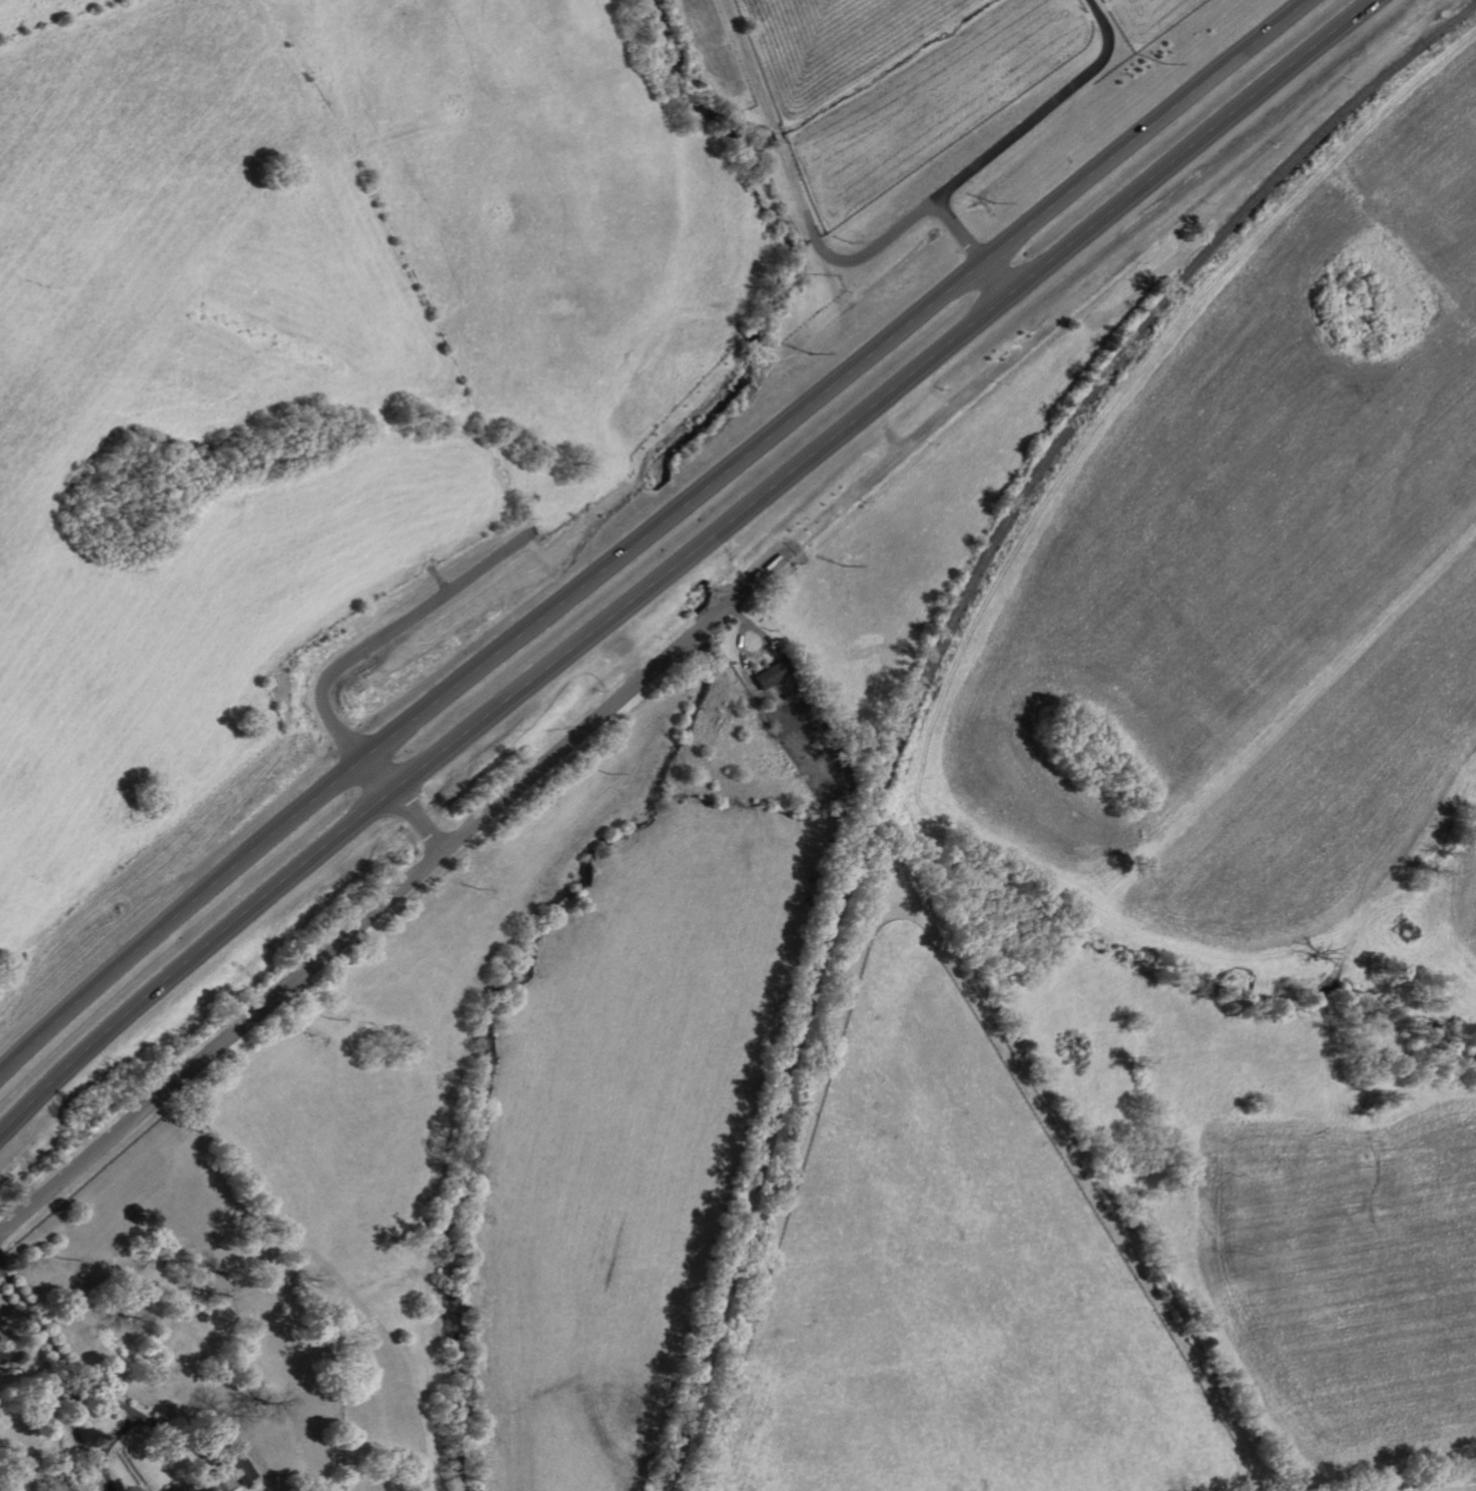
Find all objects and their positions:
road: (1124, 22)
road: (1024, 124)
road: (1139, 131)
road: (805, 223)
road: (990, 278)
road: (677, 560)
road: (484, 661)
railway: (929, 666)
building: (769, 676)
road: (379, 776)
road: (414, 821)
road: (367, 908)
road: (104, 1390)
road: (78, 1430)
building: (241, 1469)
building: (177, 1488)

